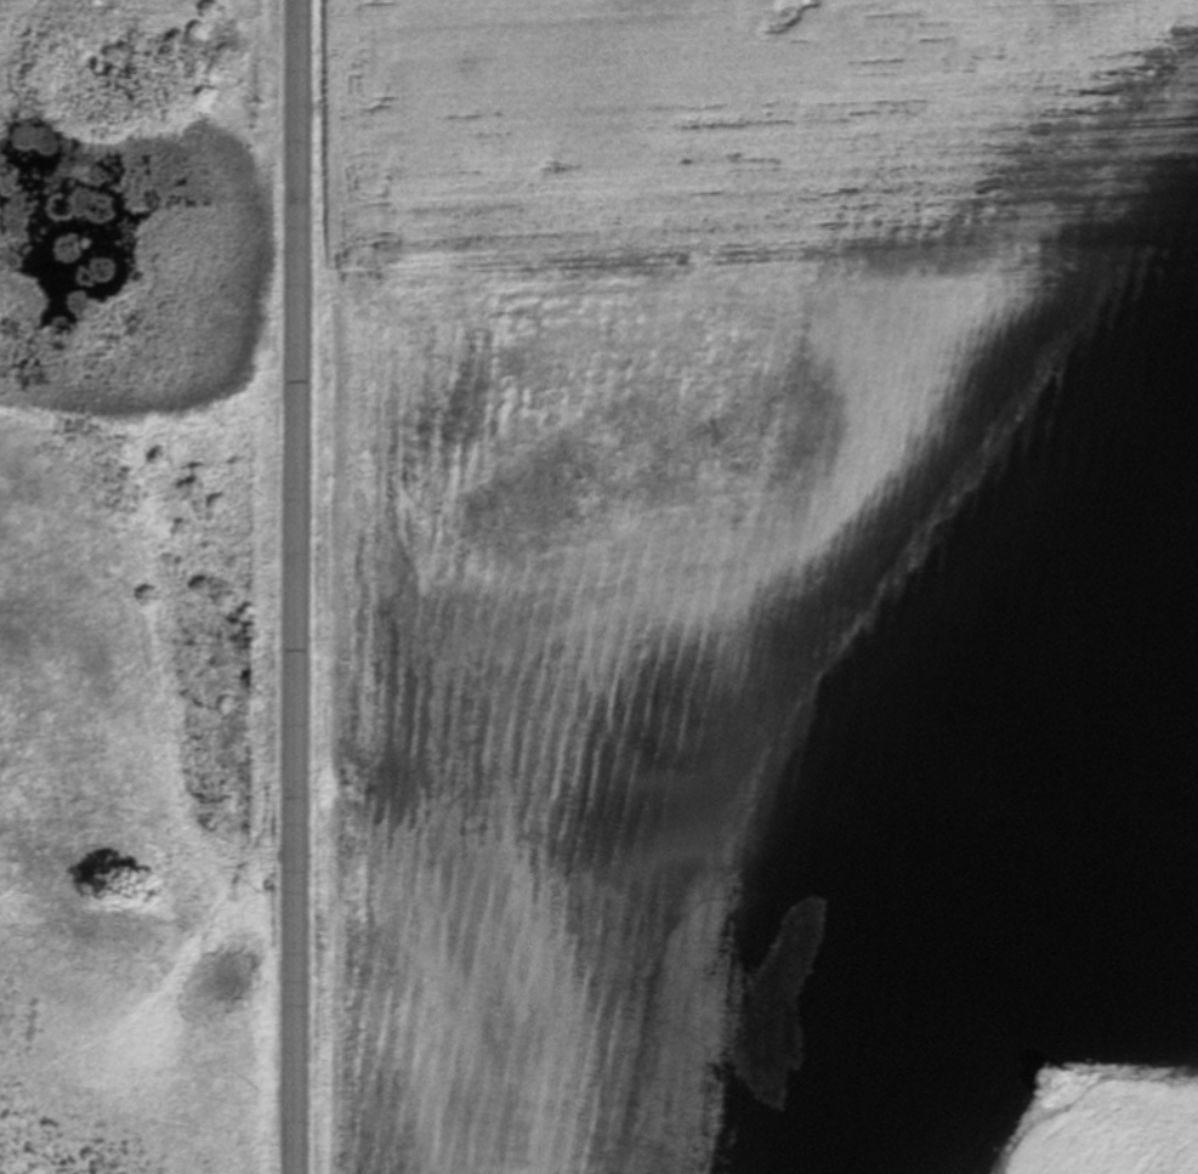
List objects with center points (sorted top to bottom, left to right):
road: (297, 586)

